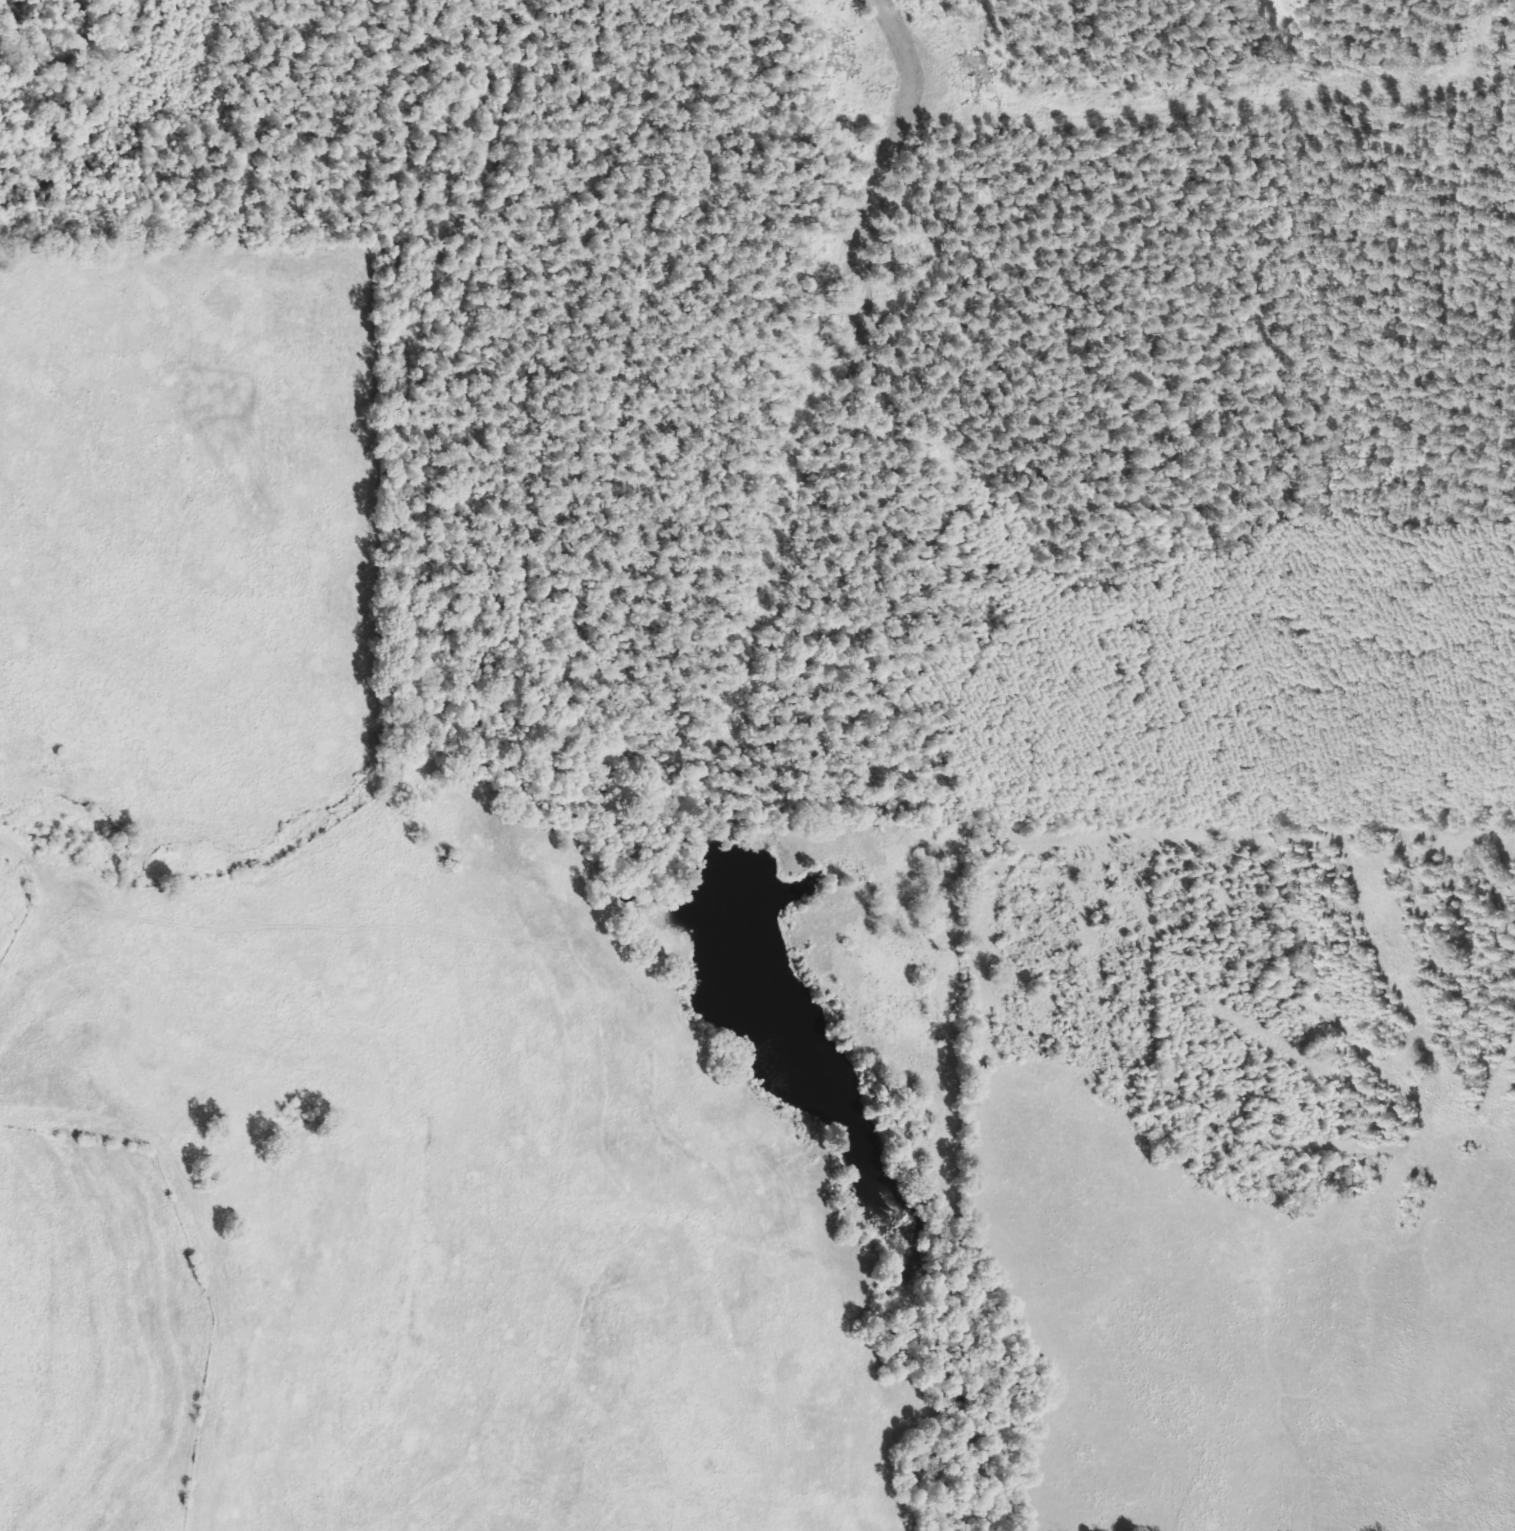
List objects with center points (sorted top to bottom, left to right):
road: (43, 943)
road: (211, 1255)

